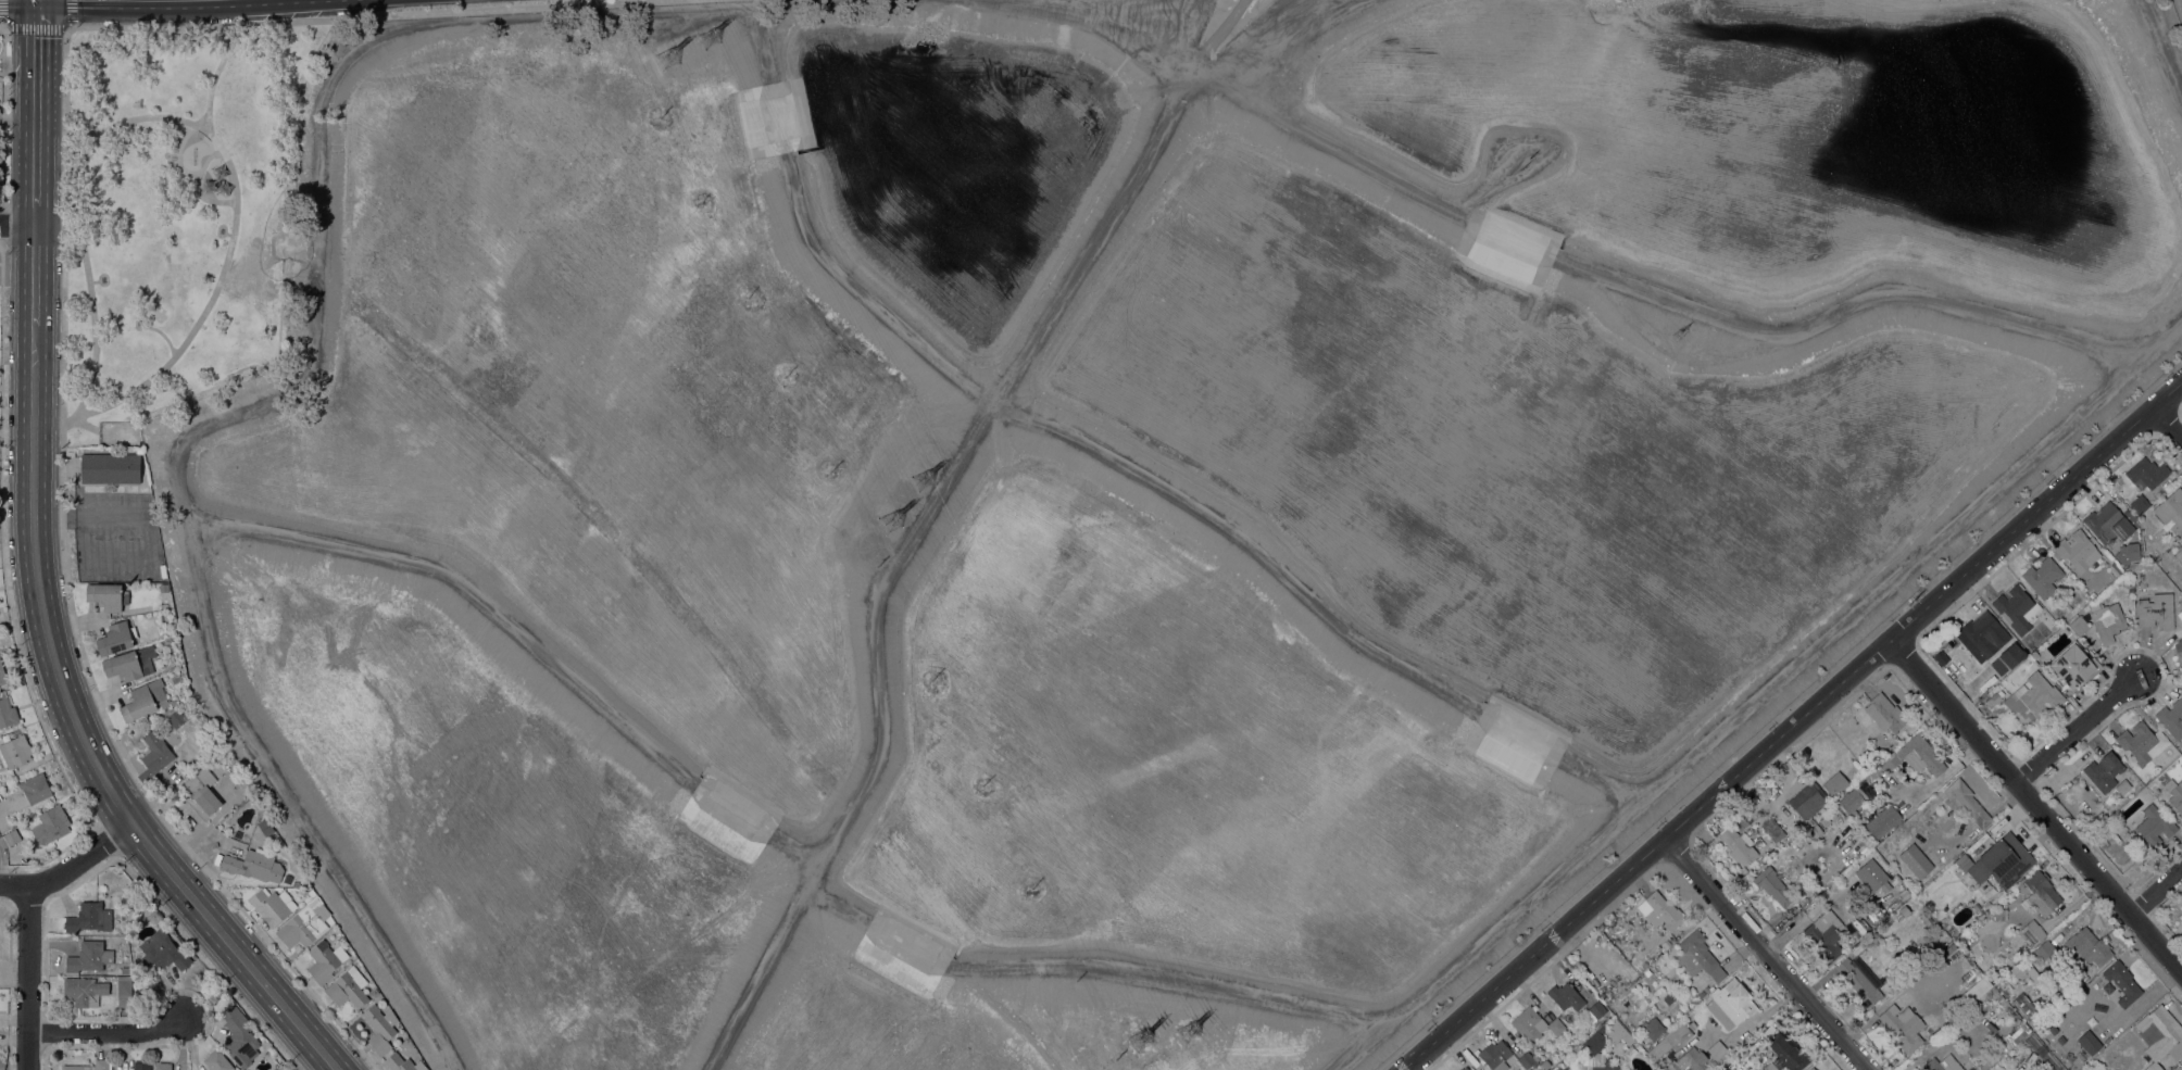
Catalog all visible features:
road: (5, 13)
road: (67, 14)
road: (1306, 15)
road: (368, 16)
road: (1092, 26)
road: (37, 27)
road: (3, 28)
road: (68, 28)
road: (229, 35)
traffic signals: (37, 36)
road: (1279, 37)
power tower: (711, 39)
road: (2164, 43)
power tower: (667, 56)
road: (18, 63)
road: (36, 67)
road: (217, 71)
road: (3, 115)
road: (17, 122)
road: (81, 122)
road: (193, 124)
road: (134, 135)
road: (179, 154)
power tower: (1526, 168)
road: (71, 178)
road: (35, 179)
road: (199, 187)
road: (2, 204)
park: (178, 216)
road: (4, 224)
road: (17, 224)
road: (229, 234)
road: (2, 243)
road: (35, 274)
road: (93, 280)
road: (163, 335)
power tower: (1678, 341)
road: (313, 363)
road: (46, 421)
road: (2167, 421)
road: (78, 423)
road: (115, 430)
building: (110, 467)
building: (2146, 473)
power tower: (923, 478)
building: (2139, 503)
road: (2035, 508)
building: (2171, 508)
road: (925, 516)
road: (46, 517)
road: (61, 517)
road: (70, 517)
road: (111, 517)
power tower: (890, 521)
building: (2109, 523)
parking lot: (117, 537)
building: (2077, 550)
building: (2133, 550)
building: (2179, 552)
building: (2123, 563)
building: (2042, 577)
building: (105, 595)
road: (7, 596)
road: (71, 597)
building: (2066, 606)
building: (2017, 607)
building: (2156, 610)
building: (2106, 619)
building: (2079, 625)
building: (1985, 633)
building: (116, 638)
building: (167, 640)
building: (2178, 645)
building: (2034, 654)
building: (2179, 657)
building: (2006, 658)
building: (130, 663)
building: (2073, 666)
building: (2, 674)
road: (1759, 693)
building: (1999, 693)
building: (2033, 695)
building: (145, 700)
building: (172, 701)
building: (8, 712)
building: (1885, 713)
building: (175, 718)
building: (2171, 718)
power tower: (2012, 720)
road: (2076, 729)
road: (83, 737)
building: (2141, 742)
building: (15, 752)
building: (1920, 754)
building: (154, 756)
building: (1886, 765)
building: (2104, 770)
building: (1867, 778)
building: (1835, 783)
building: (2122, 785)
building: (35, 788)
building: (203, 789)
building: (2174, 794)
building: (1806, 795)
building: (1, 796)
building: (1851, 800)
building: (1965, 802)
road: (2035, 805)
building: (1823, 820)
building: (1883, 820)
building: (50, 824)
building: (2154, 824)
building: (1814, 829)
building: (11, 836)
building: (1738, 845)
road: (1646, 854)
building: (1916, 860)
building: (1998, 860)
road: (68, 865)
building: (254, 865)
road: (0, 869)
building: (1870, 874)
building: (287, 878)
building: (1983, 885)
building: (1896, 886)
building: (1776, 889)
road: (2156, 891)
building: (311, 892)
building: (2041, 893)
building: (273, 905)
building: (1659, 910)
building: (1904, 910)
building: (89, 917)
building: (302, 924)
building: (2032, 931)
building: (1824, 934)
building: (1855, 935)
building: (2089, 944)
building: (1949, 948)
building: (2044, 949)
building: (162, 951)
road: (1767, 953)
building: (86, 956)
building: (1697, 956)
building: (325, 960)
building: (2029, 969)
road: (28, 977)
building: (1859, 980)
building: (2122, 982)
building: (348, 987)
building: (1976, 989)
building: (84, 991)
building: (124, 991)
building: (374, 992)
building: (1701, 993)
building: (1569, 995)
building: (1962, 996)
building: (1670, 997)
building: (1730, 1003)
building: (2027, 1010)
building: (1594, 1011)
building: (1533, 1023)
building: (1902, 1027)
building: (379, 1028)
building: (1652, 1028)
building: (2053, 1029)
power tower: (1190, 1031)
road: (106, 1033)
building: (1621, 1033)
building: (2160, 1035)
building: (239, 1036)
building: (2060, 1038)
building: (1670, 1040)
power tower: (1142, 1041)
building: (1595, 1041)
building: (2007, 1043)
building: (2089, 1043)
building: (1717, 1048)
building: (1788, 1052)
building: (1494, 1055)
building: (1691, 1057)
building: (2070, 1058)
building: (217, 1060)
building: (1526, 1060)
building: (402, 1062)
building: (1594, 1062)
building: (1660, 1062)
building: (2181, 1062)
building: (102, 1063)
building: (1943, 1063)
building: (141, 1066)
building: (163, 1066)
building: (72, 1067)
building: (1612, 1067)
building: (1770, 1067)
building: (1464, 1068)
building: (1811, 1069)

